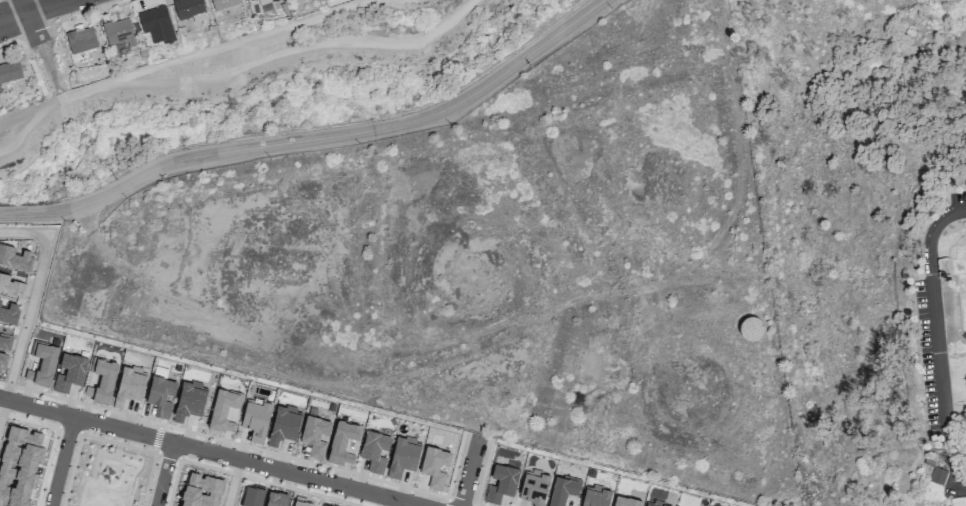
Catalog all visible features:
building: (251, 0)
building: (273, 0)
building: (258, 1)
building: (229, 4)
building: (192, 9)
road: (40, 12)
building: (160, 26)
road: (38, 30)
building: (121, 31)
building: (83, 40)
building: (9, 71)
building: (0, 91)
road: (317, 140)
building: (14, 258)
building: (11, 286)
road: (33, 297)
building: (0, 301)
road: (934, 312)
building: (9, 313)
building: (5, 342)
building: (2, 361)
building: (42, 364)
building: (70, 372)
building: (102, 382)
building: (130, 385)
building: (160, 395)
building: (189, 400)
road: (2, 408)
building: (224, 410)
building: (256, 419)
road: (76, 425)
building: (284, 425)
building: (315, 434)
road: (54, 438)
building: (342, 439)
road: (108, 441)
road: (164, 448)
building: (375, 450)
road: (949, 450)
road: (202, 452)
road: (61, 461)
building: (435, 465)
building: (18, 466)
road: (469, 471)
park: (108, 474)
road: (164, 474)
building: (938, 475)
road: (248, 476)
building: (501, 483)
road: (233, 485)
building: (534, 487)
building: (202, 490)
building: (561, 491)
building: (252, 496)
building: (595, 496)
building: (276, 499)
building: (627, 502)
road: (381, 503)
building: (178, 505)
building: (293, 505)

